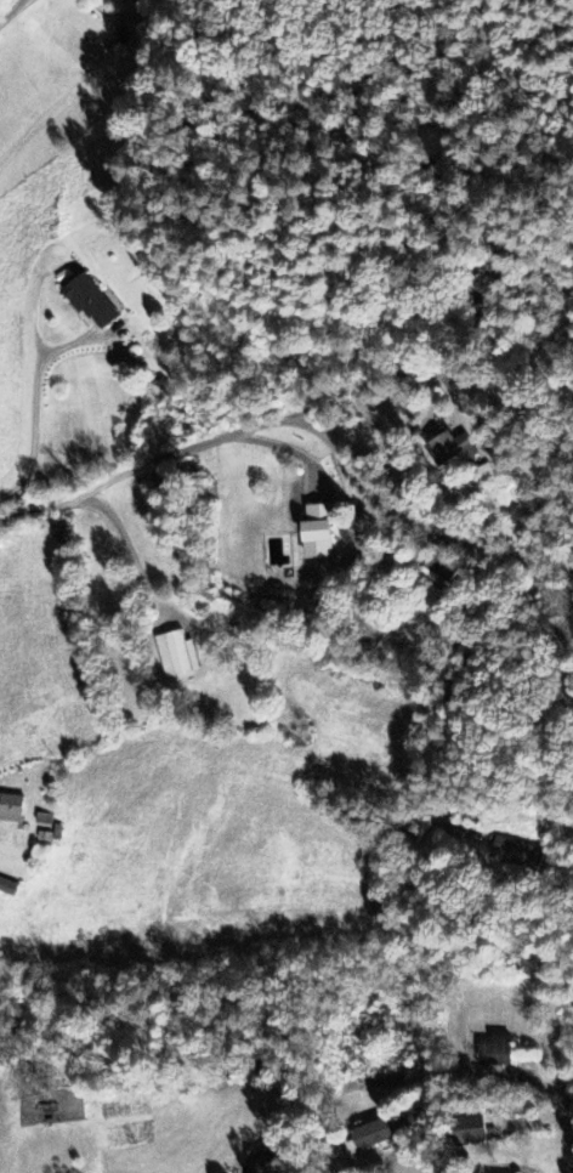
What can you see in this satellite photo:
building: (124, 1)
road: (8, 11)
building: (91, 304)
road: (325, 437)
building: (452, 450)
building: (318, 533)
building: (441, 569)
building: (177, 656)
building: (11, 810)
building: (520, 856)
building: (7, 889)
building: (497, 1054)
building: (494, 1071)
road: (552, 1088)
road: (571, 1094)
building: (469, 1132)
building: (373, 1135)
building: (265, 1164)

